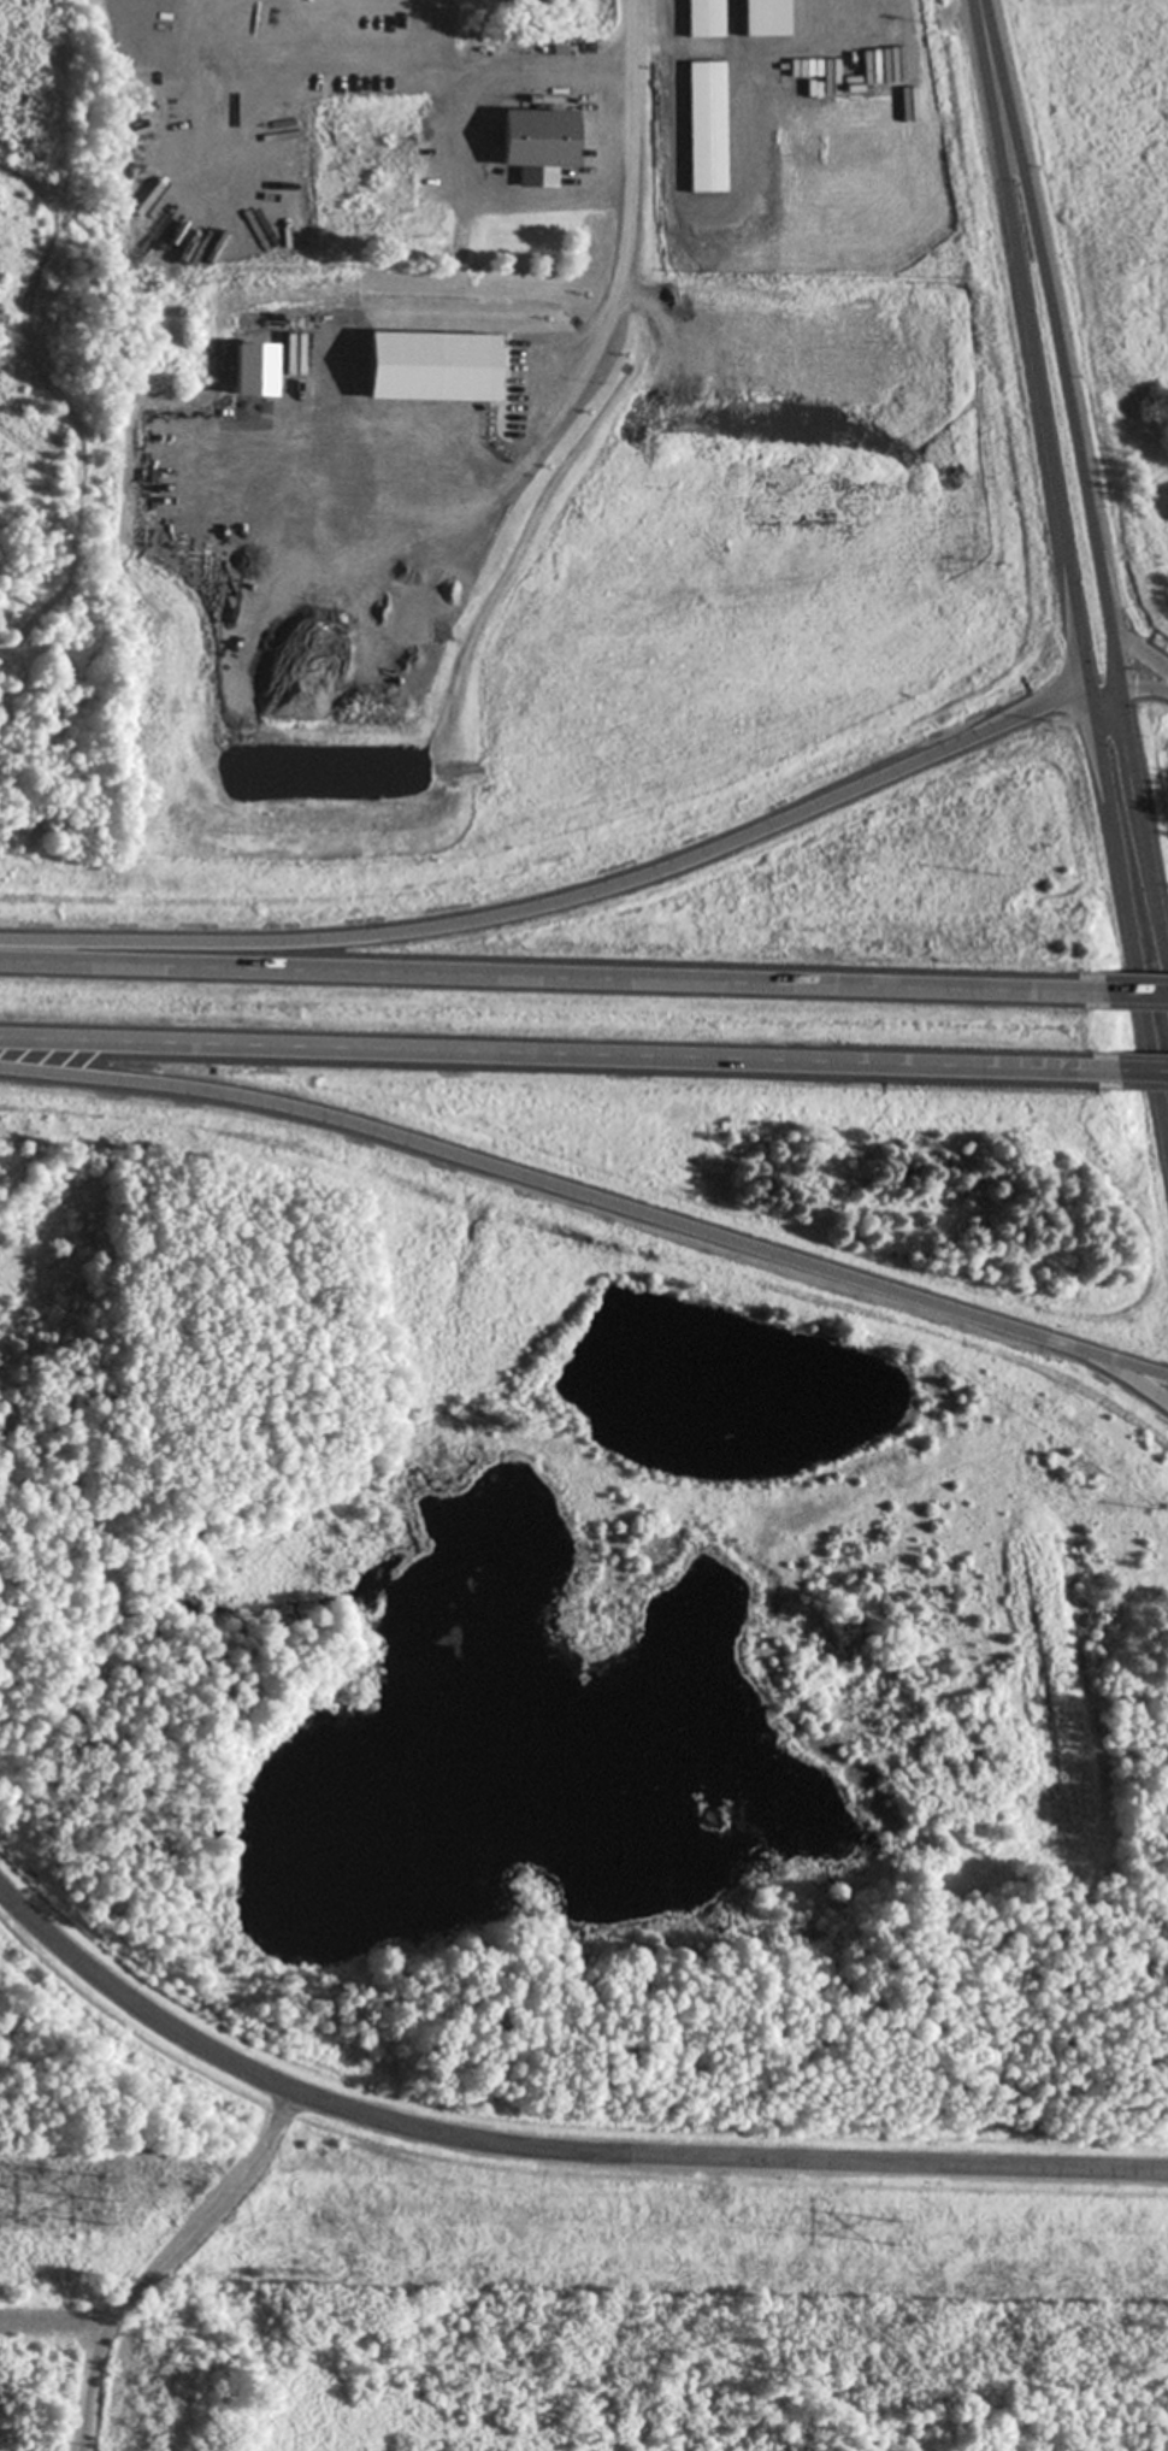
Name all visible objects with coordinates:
building: (536, 145)
road: (1051, 314)
road: (1031, 344)
road: (1139, 650)
road: (1115, 658)
road: (1144, 684)
road: (1102, 687)
road: (1144, 818)
road: (559, 894)
road: (1126, 909)
road: (549, 976)
road: (1134, 992)
road: (556, 1051)
road: (1140, 1068)
road: (547, 1185)
road: (1126, 1363)
road: (1126, 1375)
road: (548, 2149)

